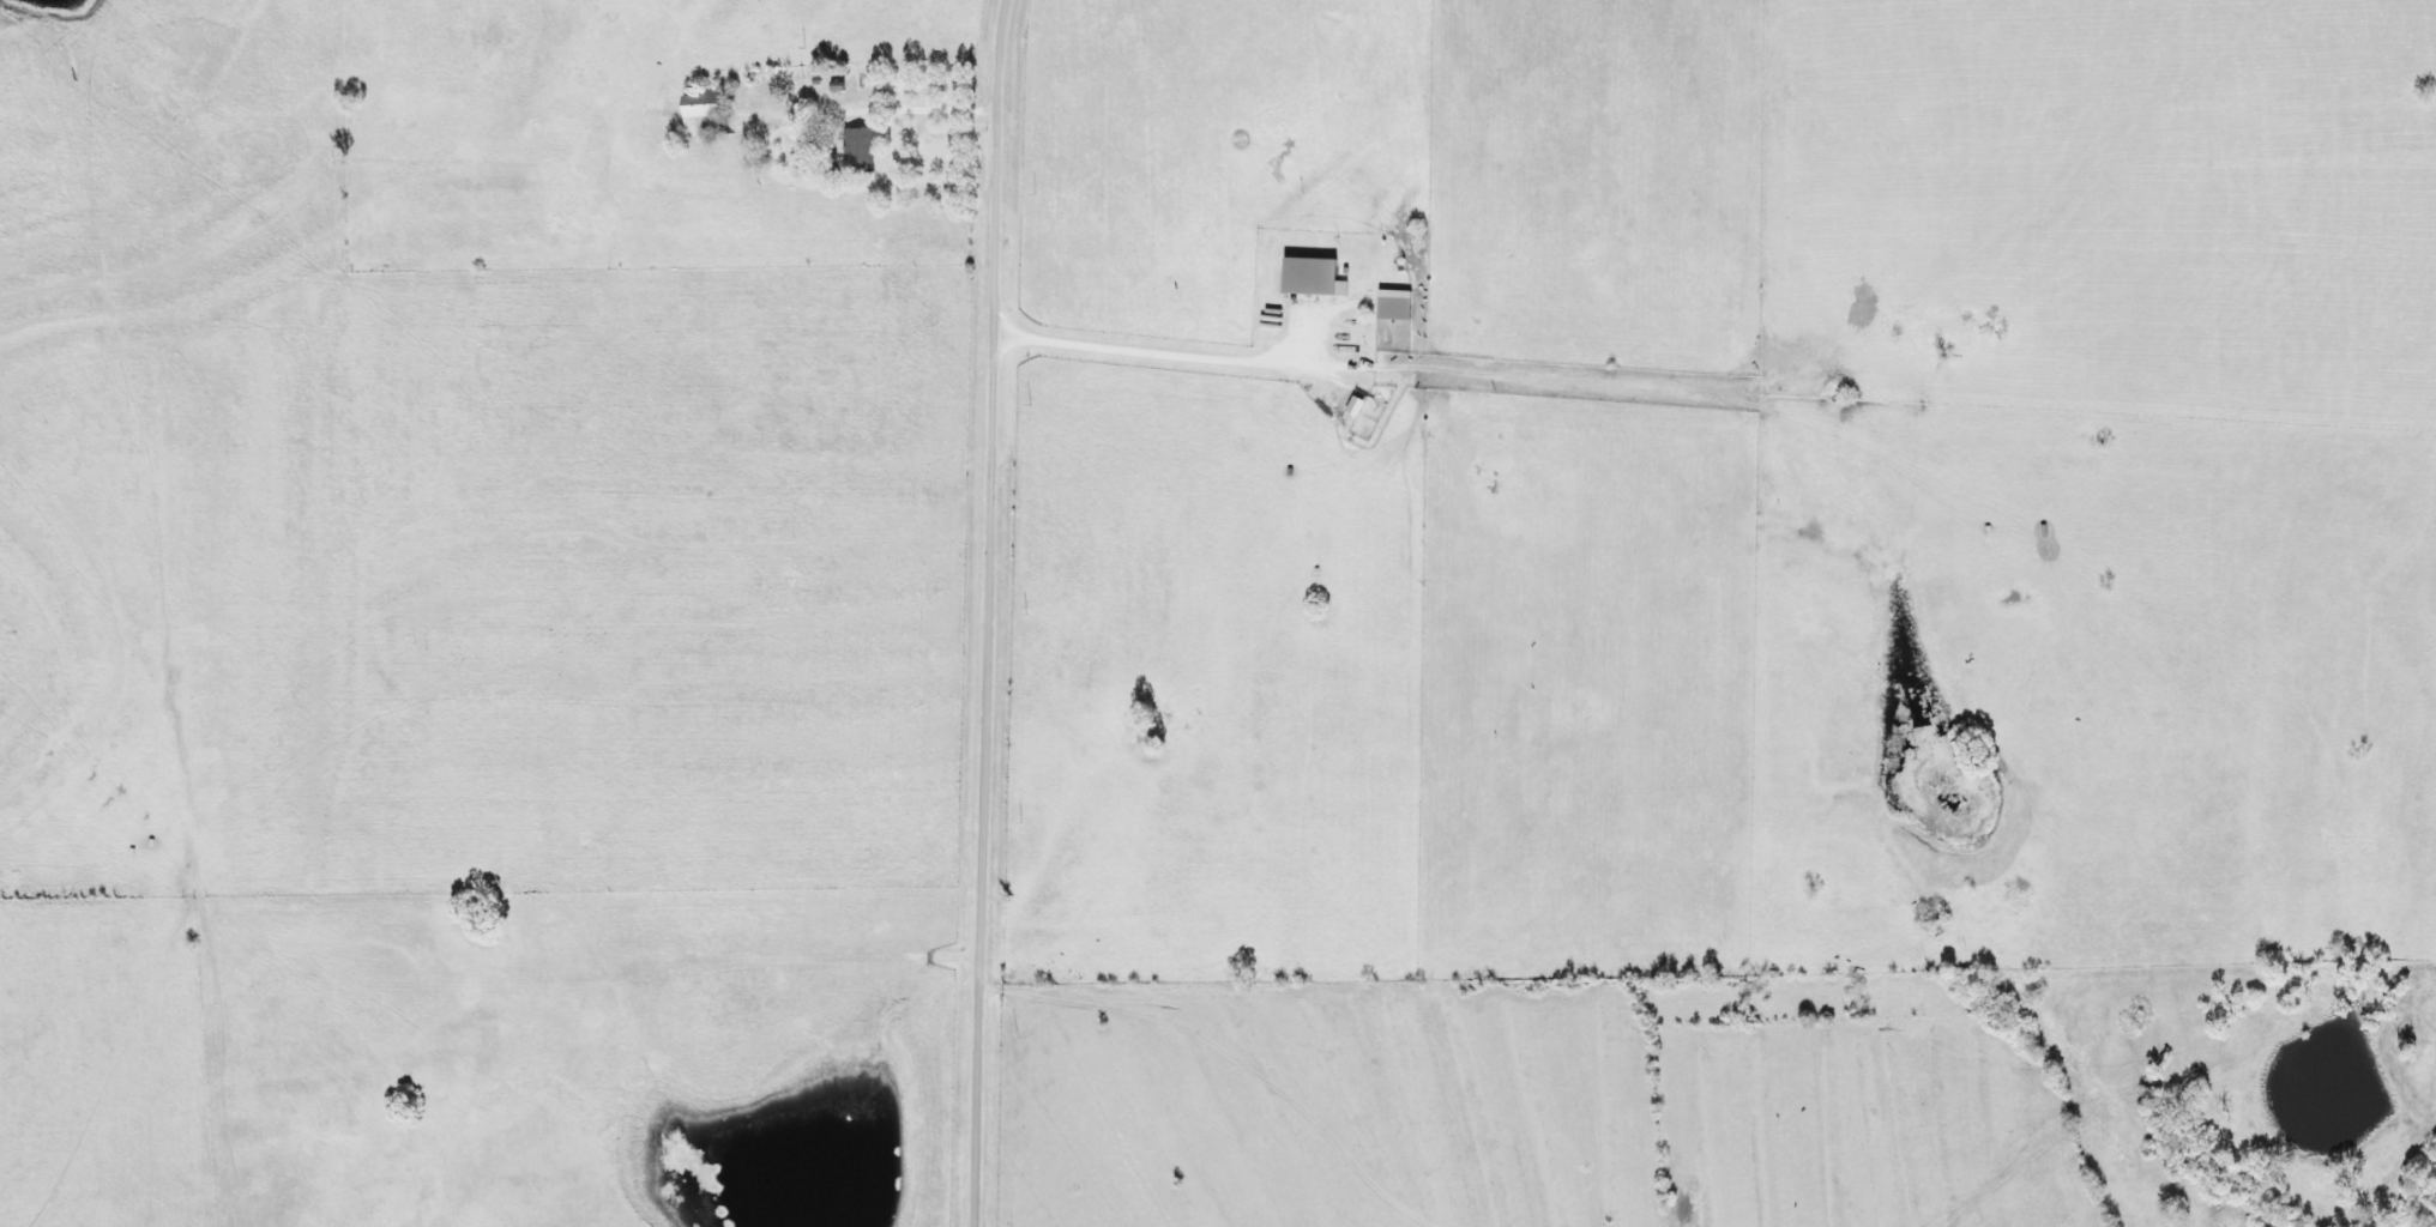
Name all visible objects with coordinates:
road: (935, 109)
building: (710, 114)
building: (860, 152)
building: (1383, 309)
road: (1141, 350)
road: (989, 612)

